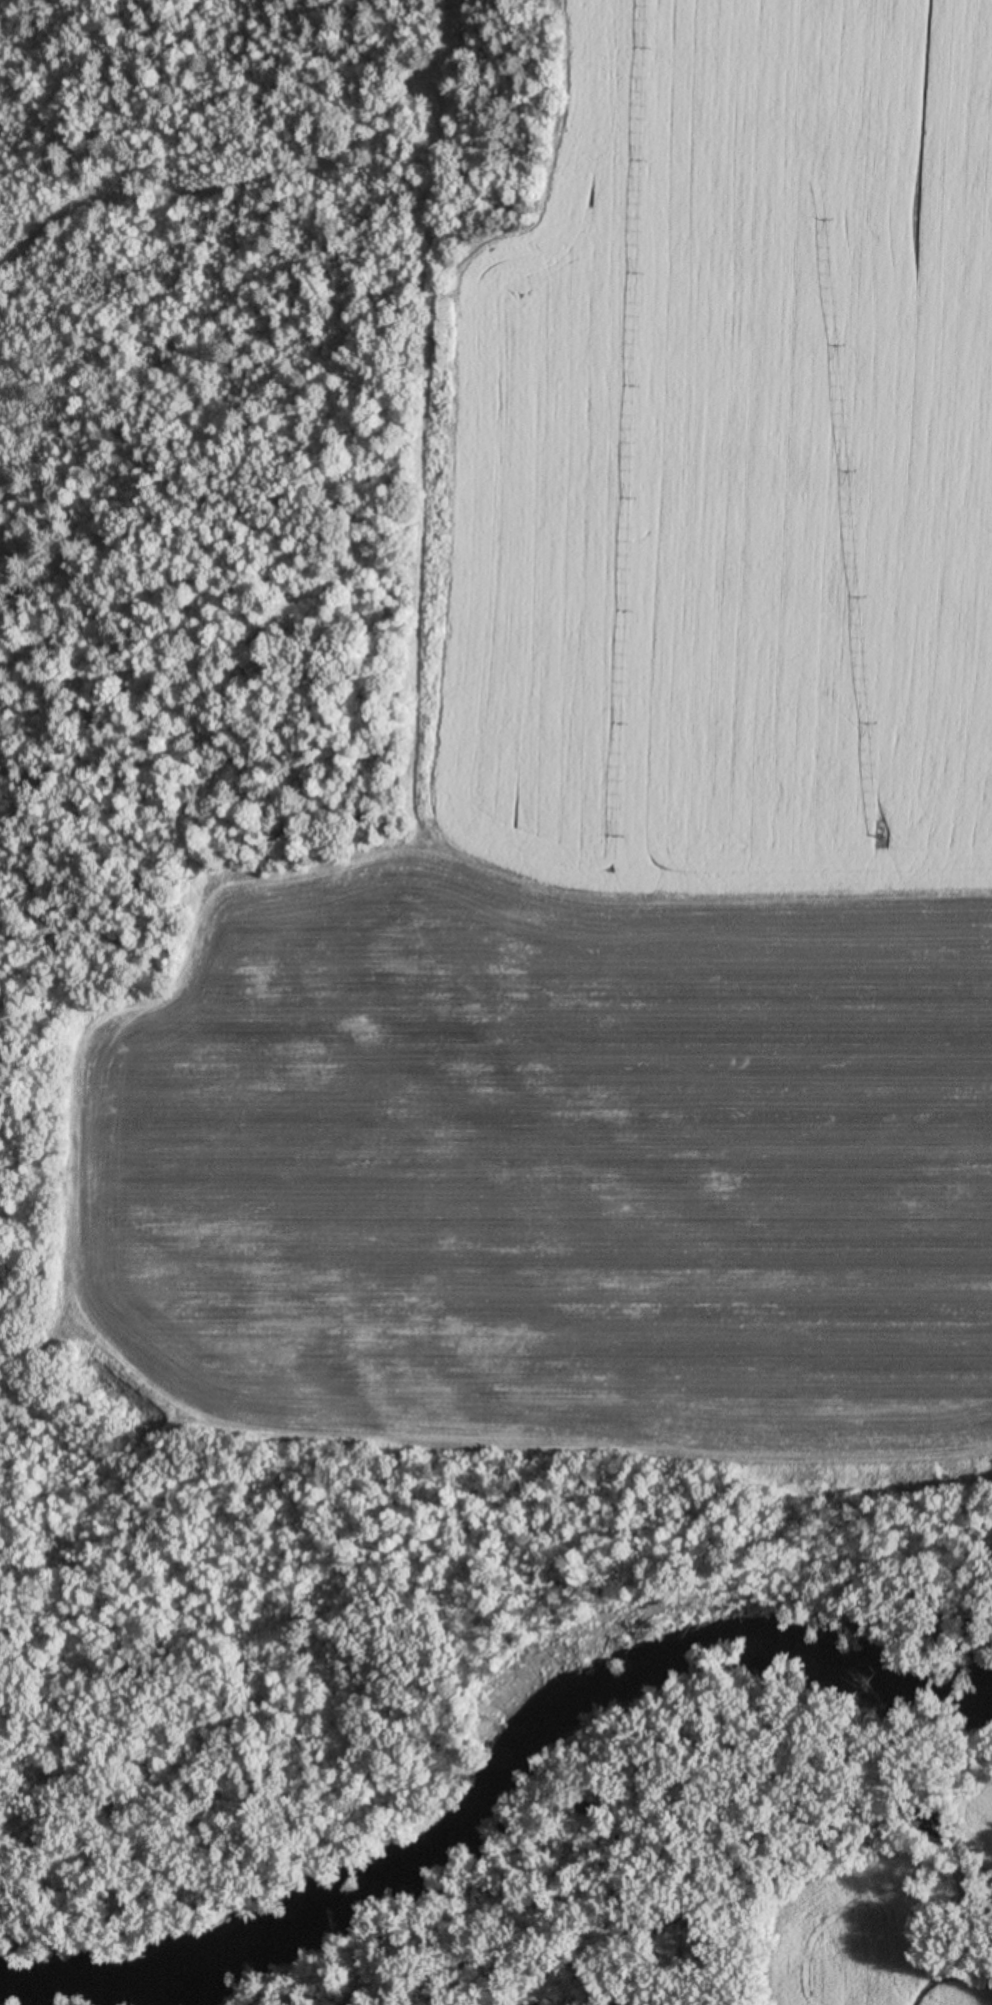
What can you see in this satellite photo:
river: (509, 1794)

